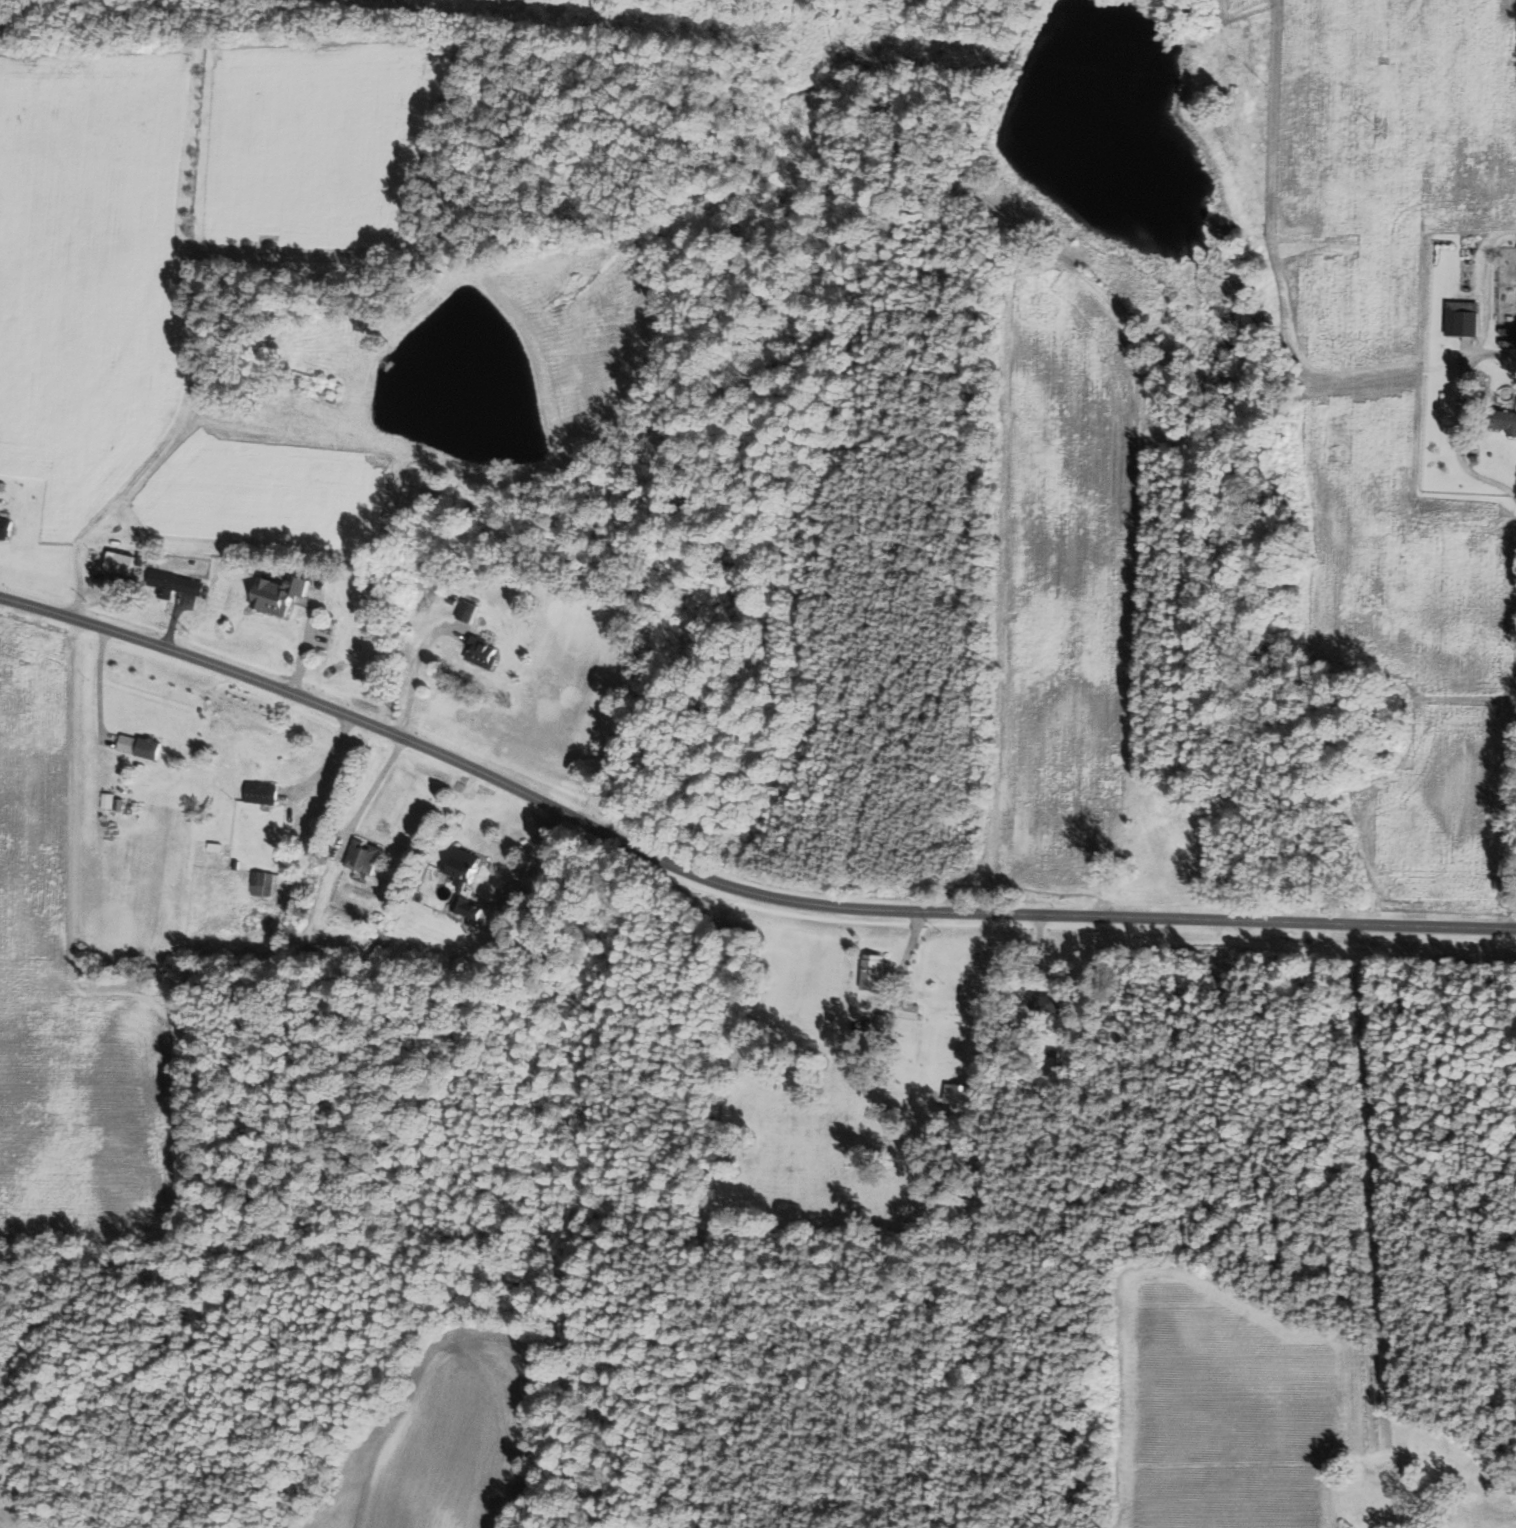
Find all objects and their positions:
road: (1489, 288)
building: (1464, 321)
road: (1457, 419)
building: (1510, 421)
building: (6, 528)
building: (121, 562)
building: (175, 584)
building: (282, 593)
building: (469, 610)
building: (484, 653)
road: (416, 668)
building: (129, 743)
building: (151, 748)
road: (373, 789)
building: (264, 793)
building: (365, 856)
building: (466, 867)
road: (1515, 880)
building: (263, 883)
road: (731, 886)
building: (470, 907)
building: (874, 972)
building: (1056, 1001)
building: (912, 1010)
building: (959, 1099)
building: (1381, 1474)
road: (1465, 1507)

